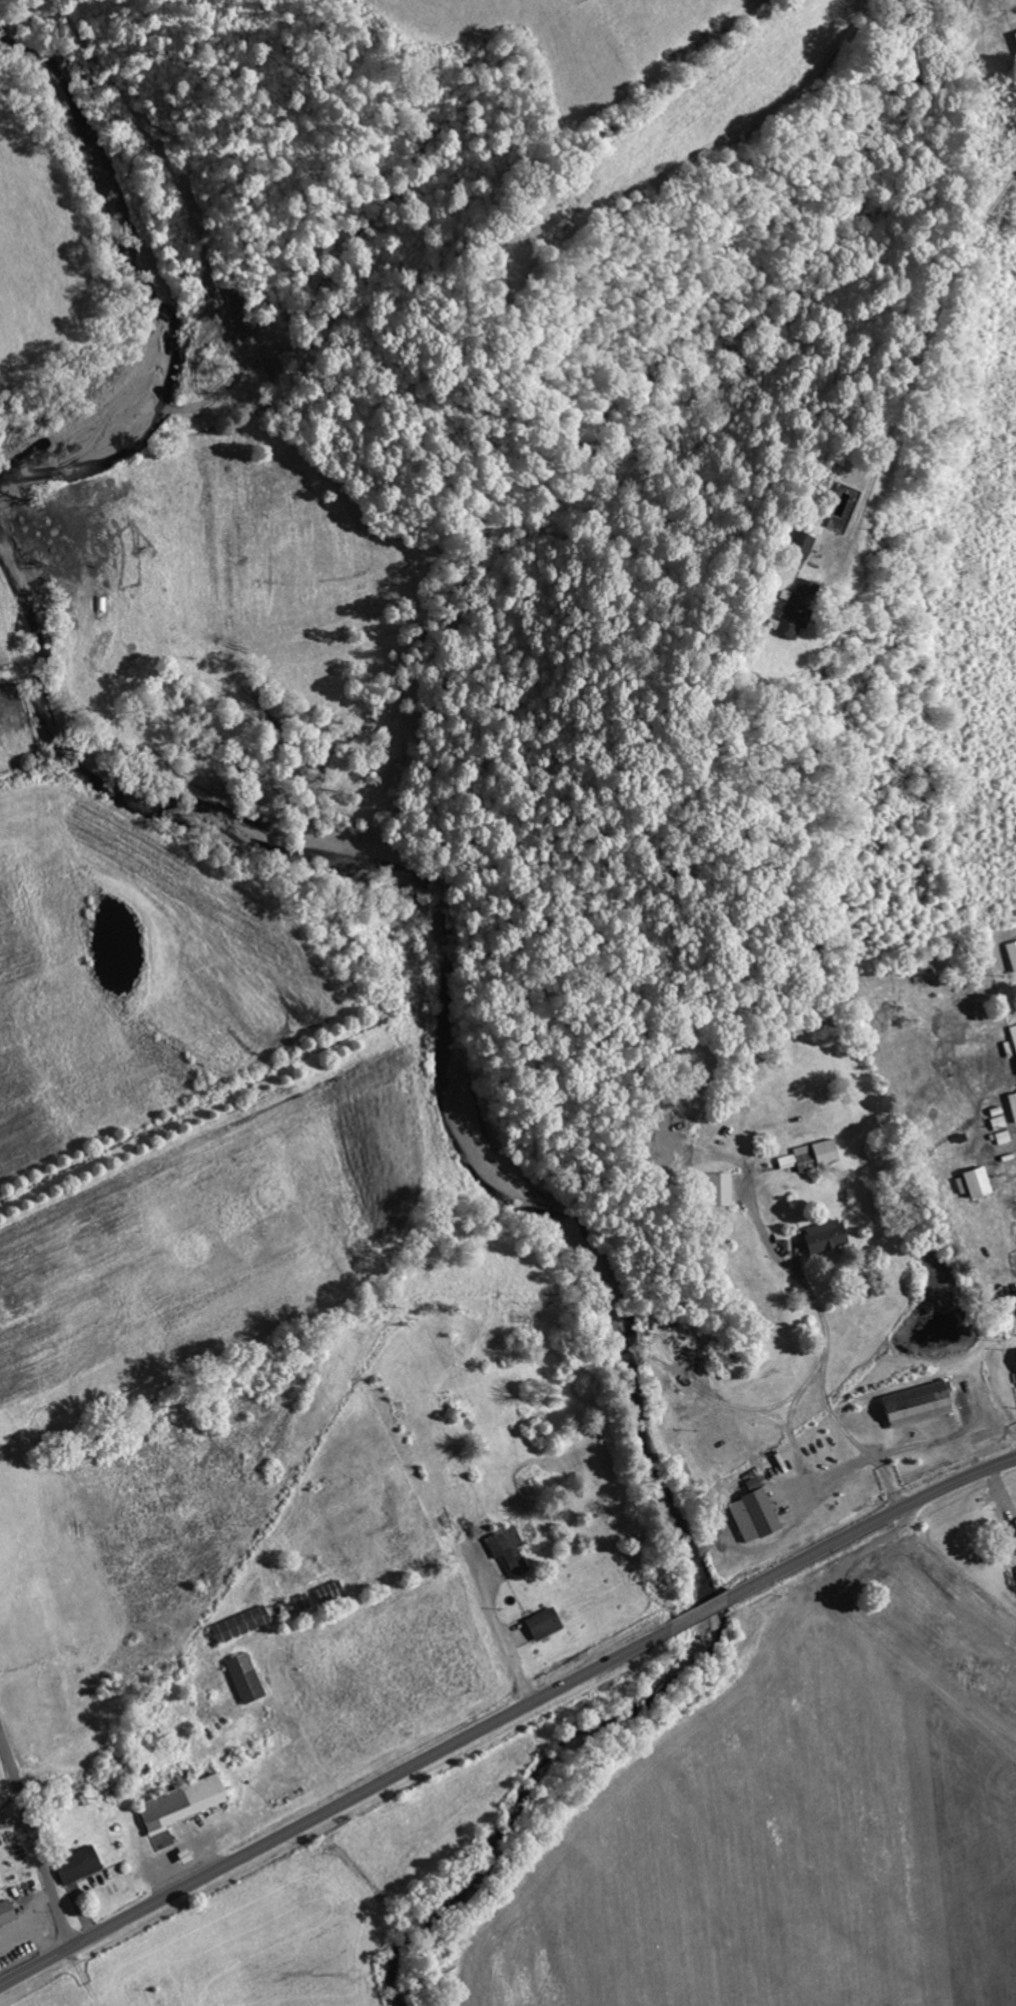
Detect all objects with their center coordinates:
road: (895, 387)
building: (816, 544)
building: (812, 610)
building: (1013, 952)
building: (1015, 1030)
building: (1014, 1102)
building: (1000, 1118)
building: (1006, 1138)
building: (817, 1155)
building: (981, 1182)
building: (723, 1190)
building: (829, 1236)
building: (922, 1404)
building: (757, 1514)
building: (511, 1550)
building: (332, 1592)
building: (300, 1605)
building: (547, 1624)
building: (244, 1625)
building: (249, 1679)
road: (505, 1717)
road: (10, 1804)
building: (187, 1804)
road: (34, 1842)
building: (81, 1866)
building: (8, 1913)

